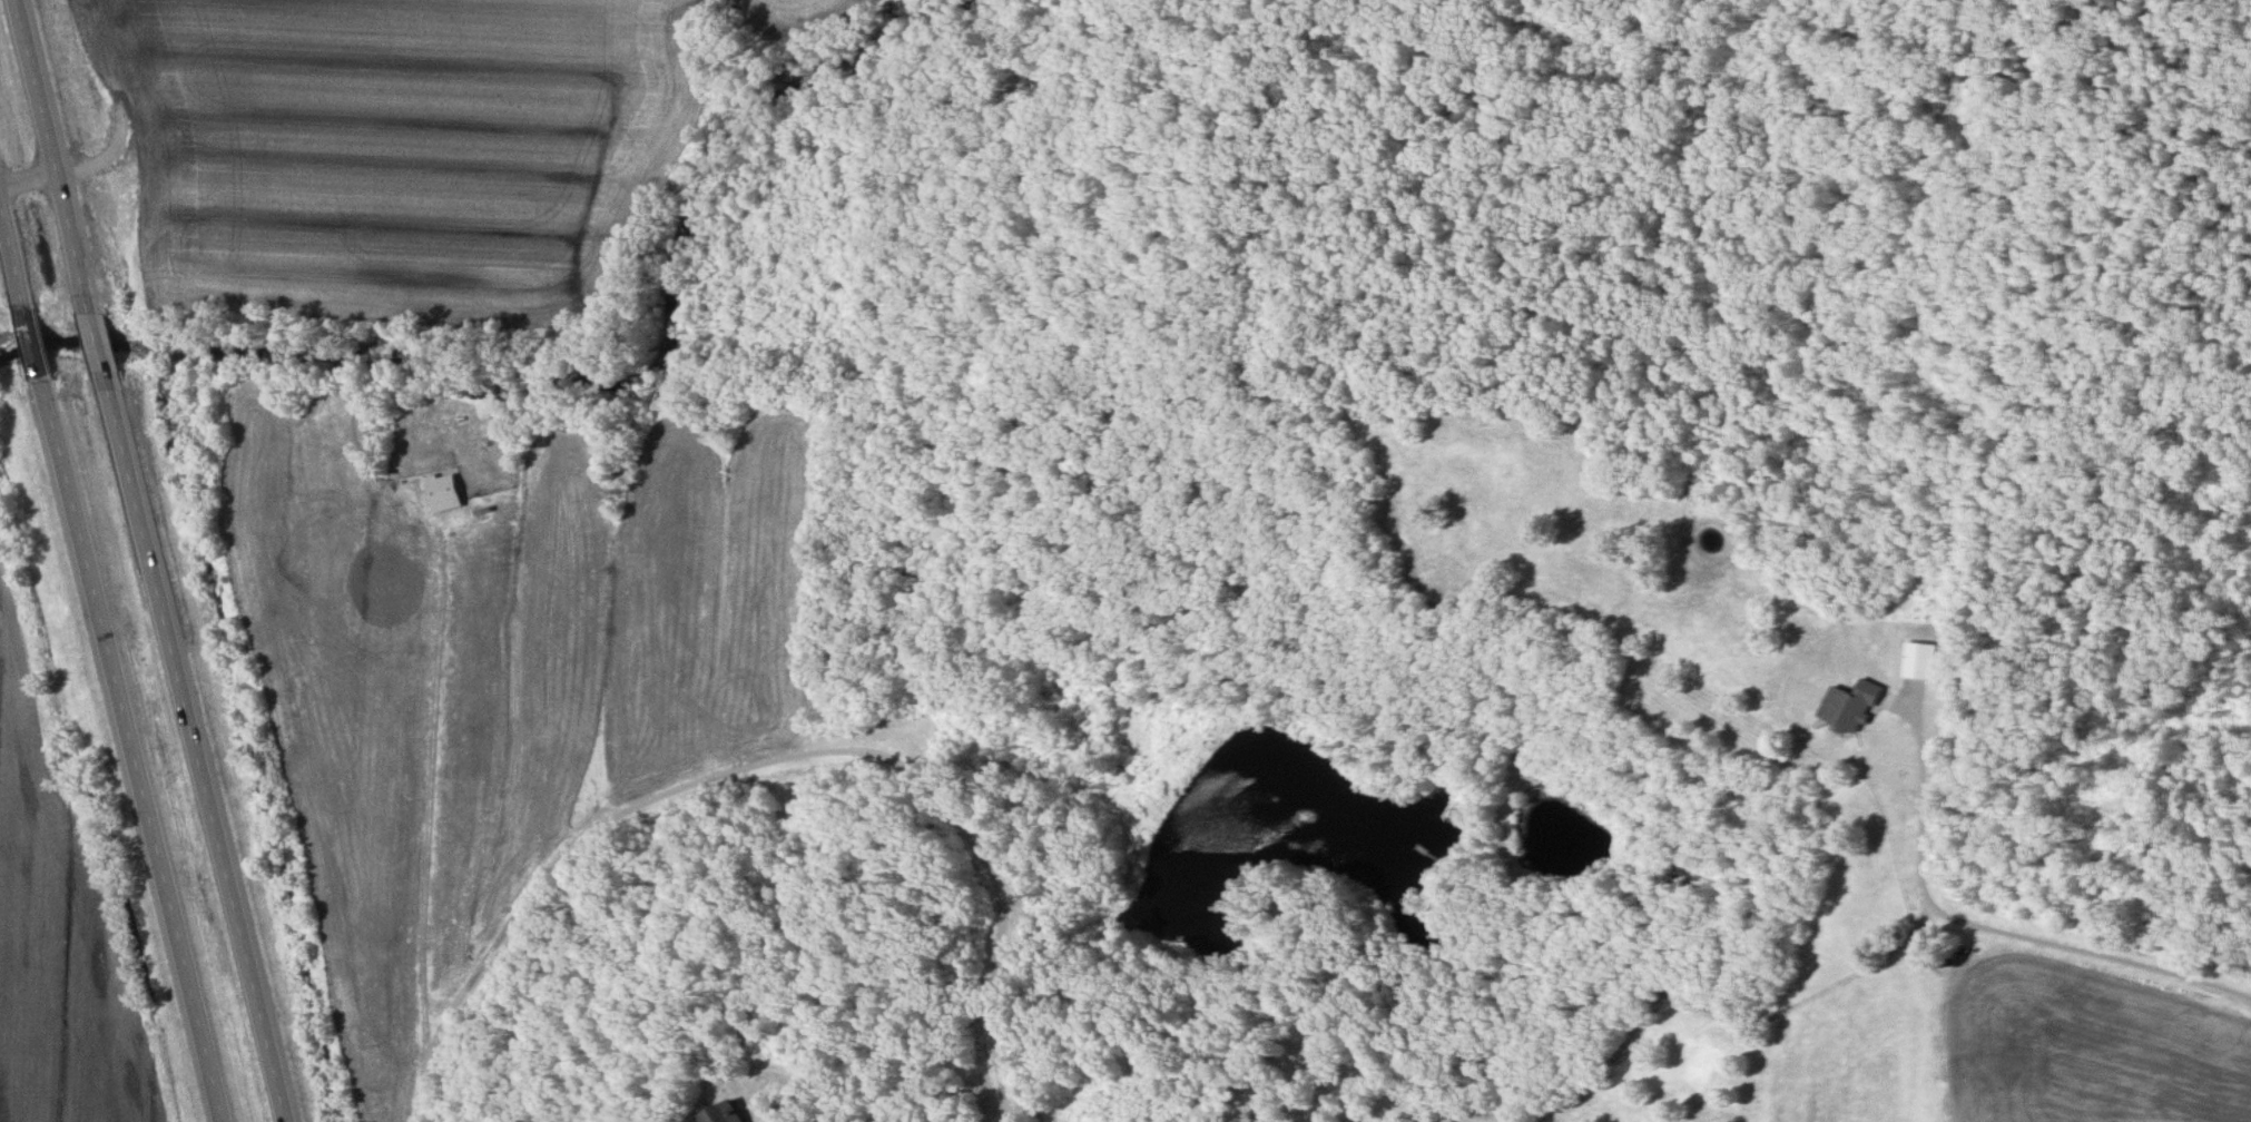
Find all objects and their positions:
crop: (755, 1)
crop: (386, 145)
road: (60, 151)
road: (32, 180)
road: (17, 227)
road: (46, 341)
road: (109, 344)
river: (101, 348)
building: (445, 495)
building: (1920, 663)
building: (1851, 709)
road: (144, 751)
road: (207, 754)
road: (432, 790)
road: (989, 870)
road: (553, 885)
road: (1988, 927)
crop: (57, 934)
building: (724, 1113)

